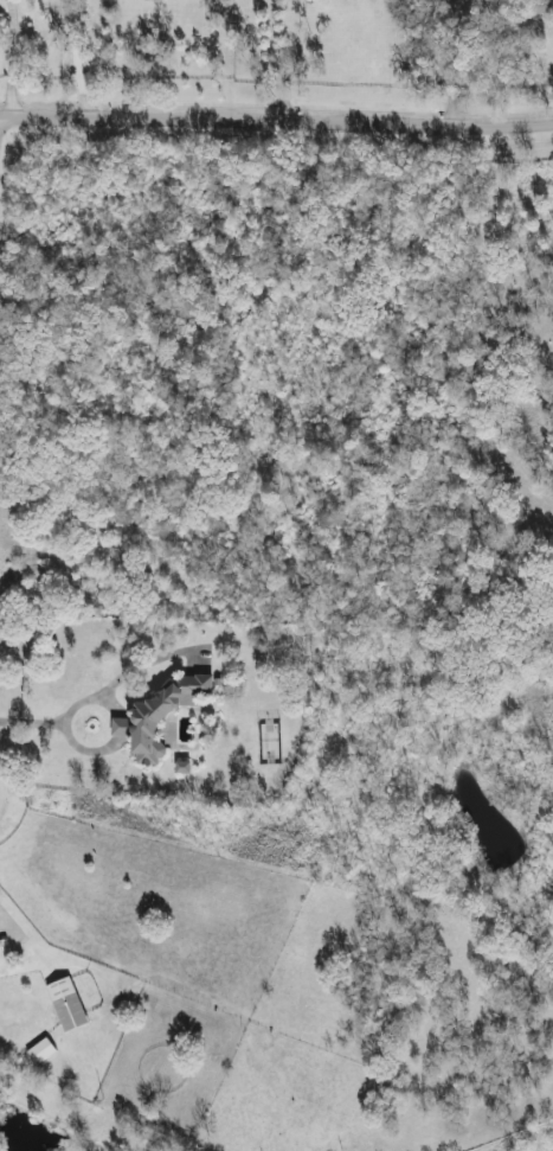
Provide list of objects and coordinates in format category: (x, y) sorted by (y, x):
road: (8, 59)
road: (73, 59)
road: (276, 62)
road: (438, 63)
road: (276, 122)
road: (65, 716)
building: (160, 717)
building: (182, 767)
road: (5, 915)
building: (67, 1004)
building: (41, 1051)

